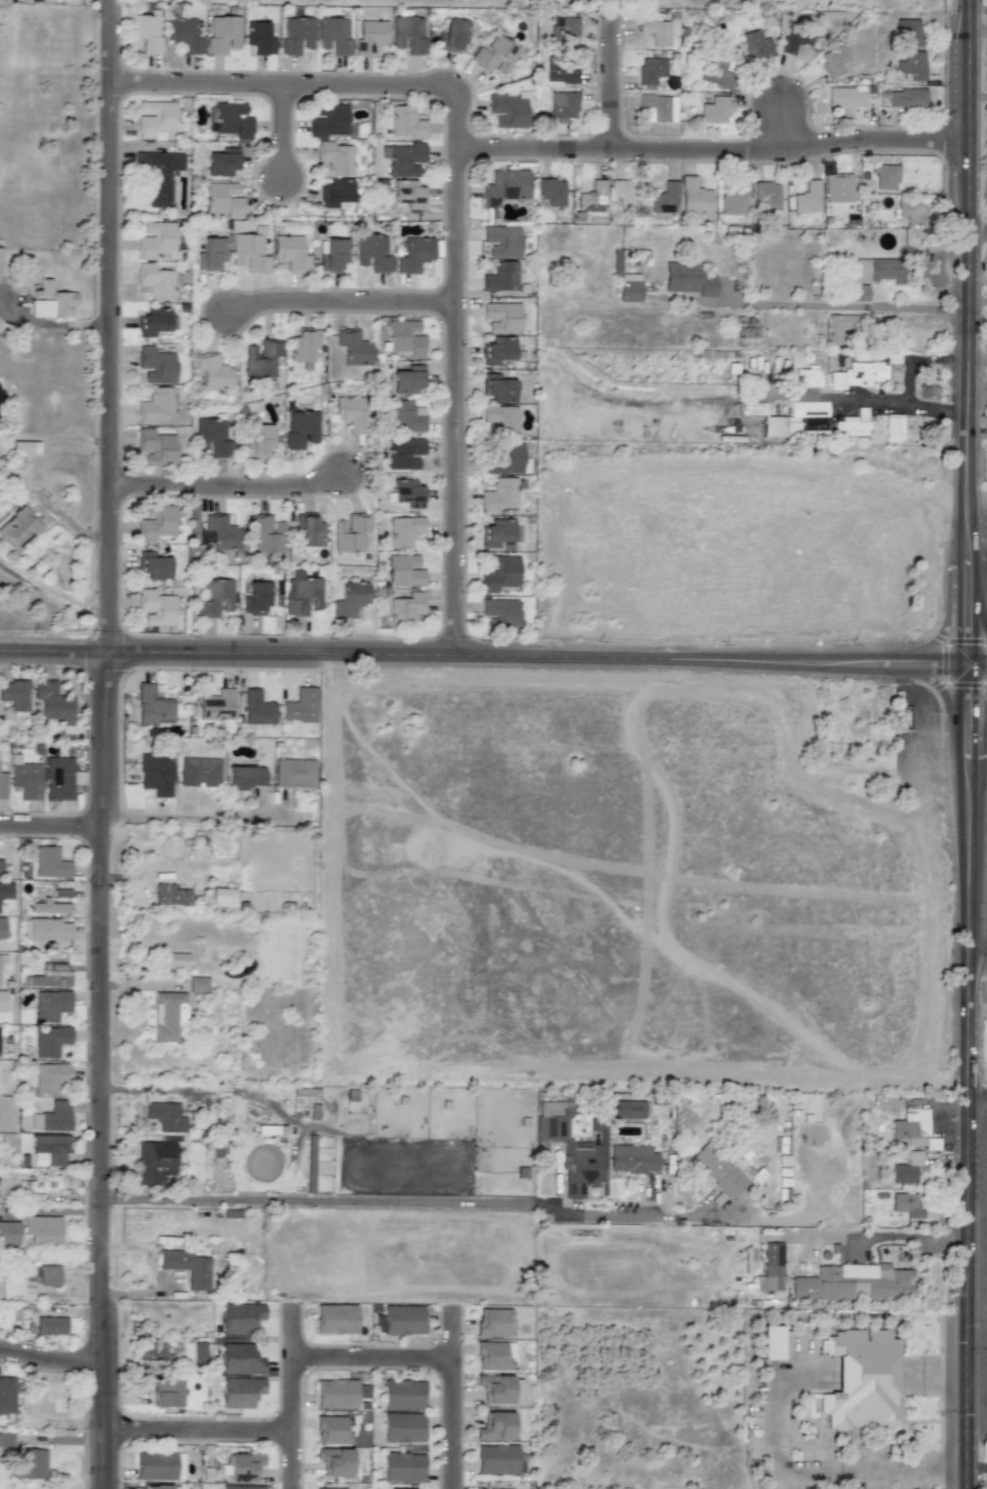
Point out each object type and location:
building: (566, 30)
building: (656, 31)
building: (145, 32)
building: (907, 32)
building: (222, 34)
building: (408, 34)
building: (184, 35)
building: (297, 35)
building: (334, 35)
building: (453, 35)
building: (370, 36)
building: (259, 38)
building: (794, 40)
building: (756, 45)
building: (495, 55)
building: (833, 60)
building: (911, 65)
building: (651, 70)
building: (715, 73)
building: (562, 75)
road: (611, 81)
building: (845, 97)
building: (906, 98)
building: (563, 105)
building: (659, 106)
building: (509, 110)
building: (715, 110)
building: (232, 120)
building: (157, 121)
building: (330, 121)
road: (780, 122)
building: (405, 123)
road: (277, 131)
road: (714, 153)
building: (335, 157)
building: (403, 159)
building: (222, 162)
building: (157, 174)
building: (884, 176)
building: (505, 186)
building: (336, 191)
building: (552, 191)
building: (624, 193)
building: (408, 194)
building: (767, 194)
building: (693, 196)
road: (456, 197)
building: (591, 197)
building: (807, 198)
building: (223, 199)
building: (664, 199)
building: (735, 199)
building: (910, 210)
road: (979, 231)
building: (156, 239)
building: (501, 241)
building: (249, 252)
building: (291, 253)
building: (372, 253)
building: (211, 254)
building: (414, 254)
building: (333, 256)
building: (1, 261)
building: (878, 270)
building: (501, 277)
building: (687, 279)
building: (155, 281)
building: (629, 287)
building: (859, 293)
building: (49, 300)
road: (341, 305)
road: (810, 305)
building: (501, 317)
building: (153, 322)
road: (108, 326)
building: (839, 328)
road: (971, 332)
building: (405, 338)
building: (303, 344)
building: (353, 347)
building: (497, 350)
building: (262, 358)
building: (155, 365)
building: (212, 371)
building: (865, 373)
building: (807, 378)
building: (407, 380)
building: (837, 381)
building: (497, 388)
road: (667, 401)
building: (156, 405)
building: (350, 412)
building: (406, 417)
building: (501, 419)
building: (793, 419)
building: (852, 424)
building: (893, 427)
building: (300, 428)
building: (212, 436)
building: (258, 440)
building: (24, 447)
building: (156, 447)
building: (404, 453)
building: (505, 459)
road: (227, 488)
building: (407, 493)
building: (499, 495)
building: (156, 522)
building: (17, 528)
building: (308, 530)
building: (404, 530)
building: (349, 532)
building: (220, 533)
building: (497, 533)
building: (266, 535)
building: (153, 565)
building: (403, 570)
building: (500, 573)
building: (301, 594)
building: (215, 597)
building: (256, 597)
building: (350, 598)
building: (156, 608)
building: (404, 608)
building: (500, 612)
road: (977, 613)
road: (939, 637)
road: (53, 652)
road: (535, 659)
road: (976, 665)
road: (937, 684)
building: (15, 697)
building: (53, 703)
building: (217, 705)
building: (152, 706)
building: (300, 706)
road: (976, 707)
building: (257, 708)
building: (901, 718)
building: (199, 771)
building: (155, 774)
building: (295, 774)
building: (244, 777)
building: (24, 778)
building: (58, 778)
building: (2, 785)
road: (978, 821)
road: (175, 822)
road: (51, 827)
building: (50, 863)
building: (0, 868)
building: (5, 890)
building: (170, 895)
building: (222, 897)
building: (49, 907)
building: (2, 928)
road: (978, 956)
building: (3, 958)
building: (174, 960)
building: (51, 975)
building: (198, 984)
building: (2, 1000)
building: (50, 1005)
building: (168, 1015)
building: (50, 1040)
road: (102, 1070)
road: (969, 1076)
building: (50, 1077)
road: (154, 1091)
road: (978, 1099)
building: (626, 1109)
building: (164, 1116)
building: (52, 1117)
building: (906, 1129)
building: (573, 1147)
building: (49, 1149)
building: (632, 1158)
building: (154, 1162)
building: (906, 1168)
building: (717, 1170)
road: (416, 1202)
building: (905, 1206)
building: (42, 1229)
road: (878, 1235)
building: (186, 1267)
building: (770, 1268)
building: (854, 1283)
building: (11, 1286)
building: (240, 1317)
building: (335, 1319)
building: (399, 1320)
building: (494, 1322)
building: (50, 1325)
building: (775, 1343)
building: (153, 1349)
building: (199, 1353)
building: (494, 1355)
road: (371, 1357)
road: (50, 1359)
building: (240, 1359)
road: (864, 1367)
road: (930, 1369)
building: (861, 1380)
building: (495, 1388)
road: (778, 1389)
building: (240, 1391)
building: (362, 1391)
building: (165, 1392)
building: (335, 1394)
building: (7, 1395)
building: (403, 1395)
building: (57, 1396)
road: (291, 1396)
road: (452, 1397)
building: (495, 1426)
building: (403, 1427)
road: (196, 1429)
building: (331, 1429)
building: (6, 1439)
building: (496, 1459)
building: (334, 1461)
building: (28, 1464)
building: (155, 1466)
building: (244, 1466)
building: (402, 1467)
road: (809, 1469)
road: (905, 1471)
building: (156, 1487)
building: (241, 1487)
building: (336, 1488)

